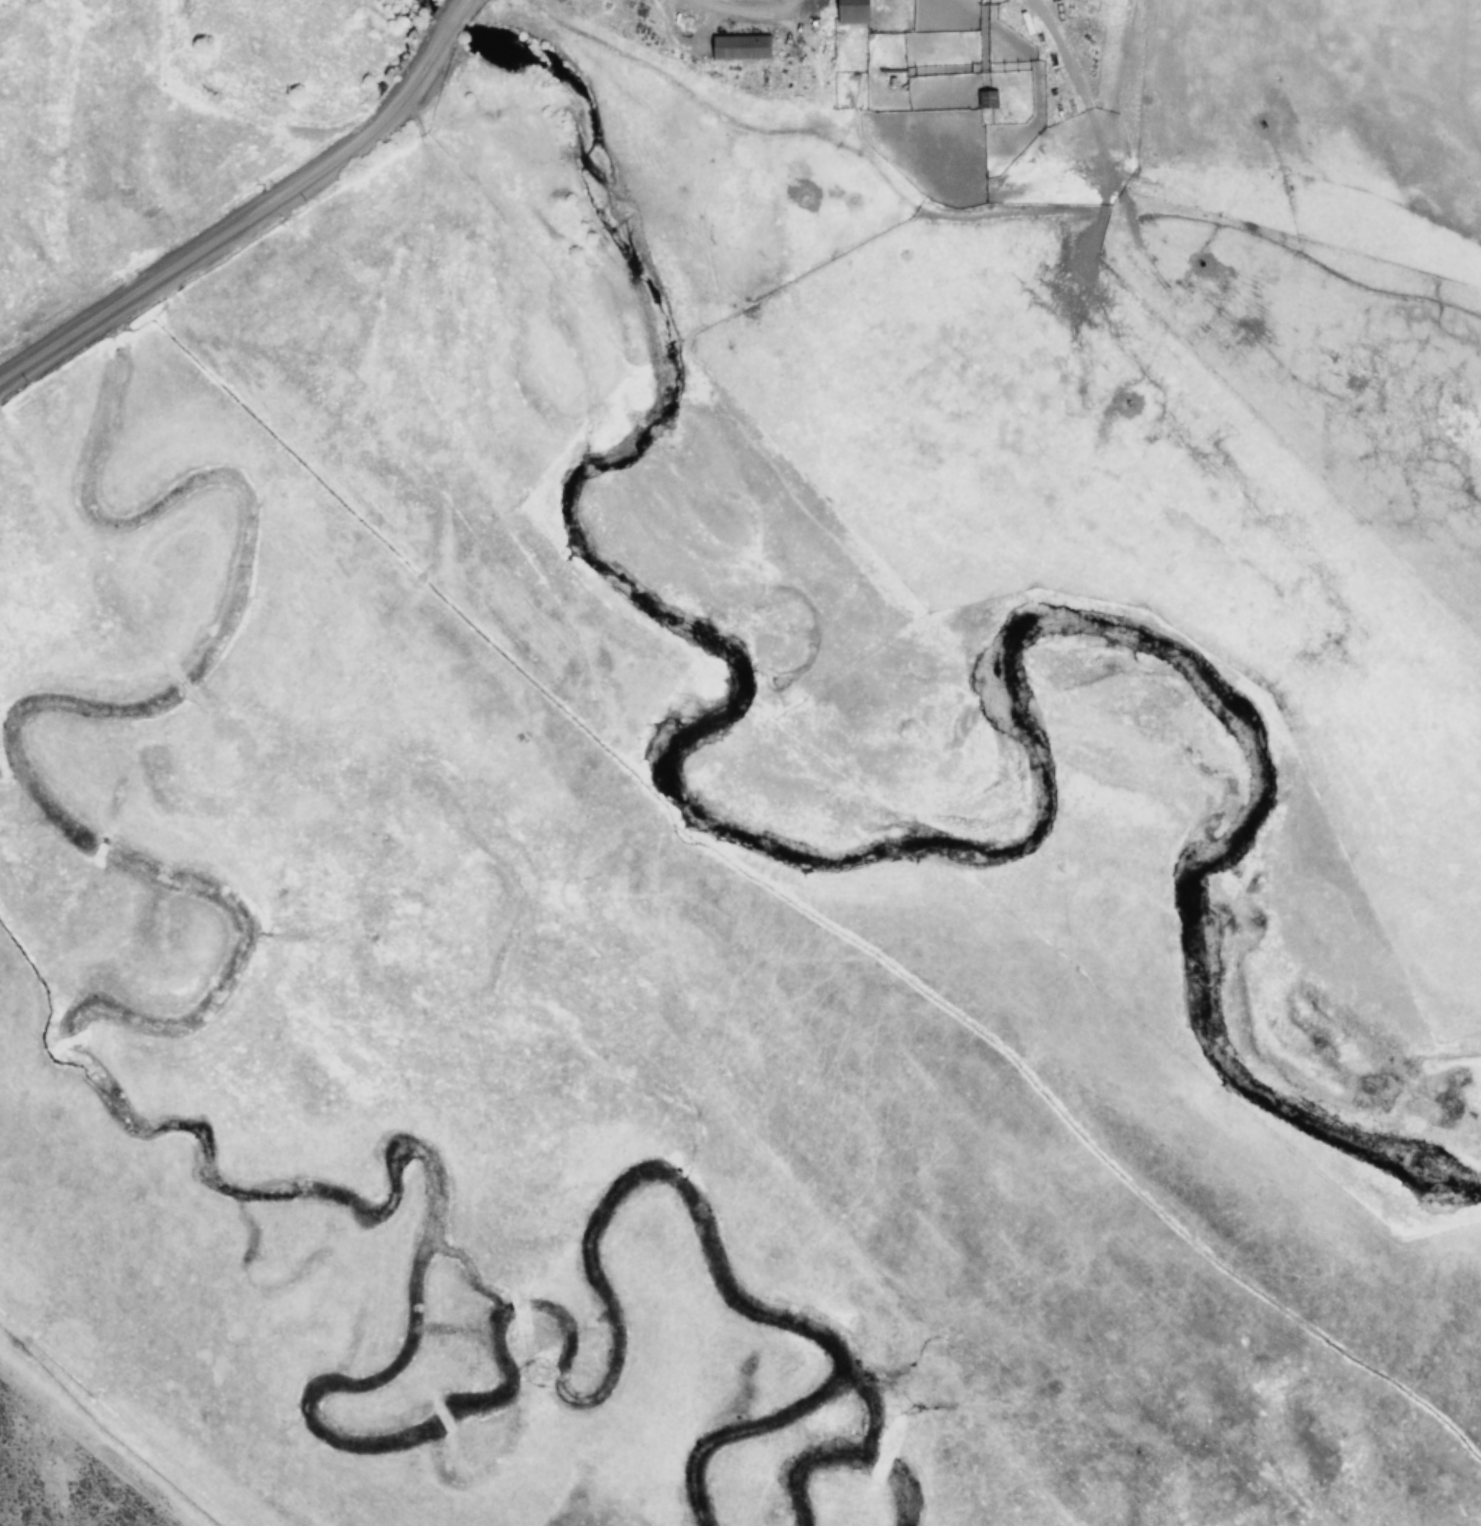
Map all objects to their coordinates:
building: (849, 13)
building: (736, 50)
building: (985, 102)
road: (263, 217)
river: (867, 841)

